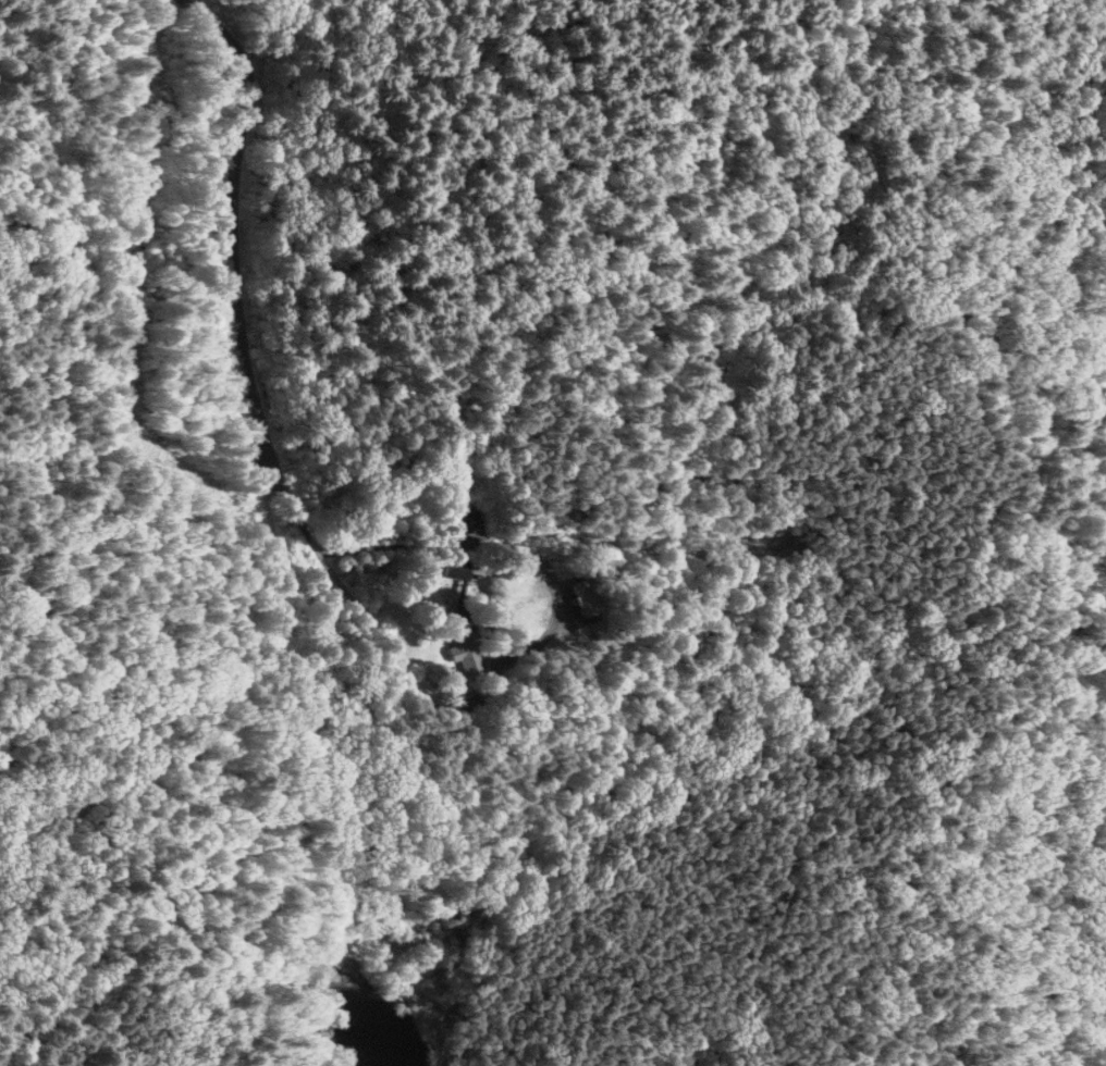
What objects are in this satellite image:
road: (856, 57)
road: (858, 153)
road: (1095, 384)
road: (946, 400)
road: (297, 517)
building: (452, 520)
building: (435, 579)
building: (452, 640)

